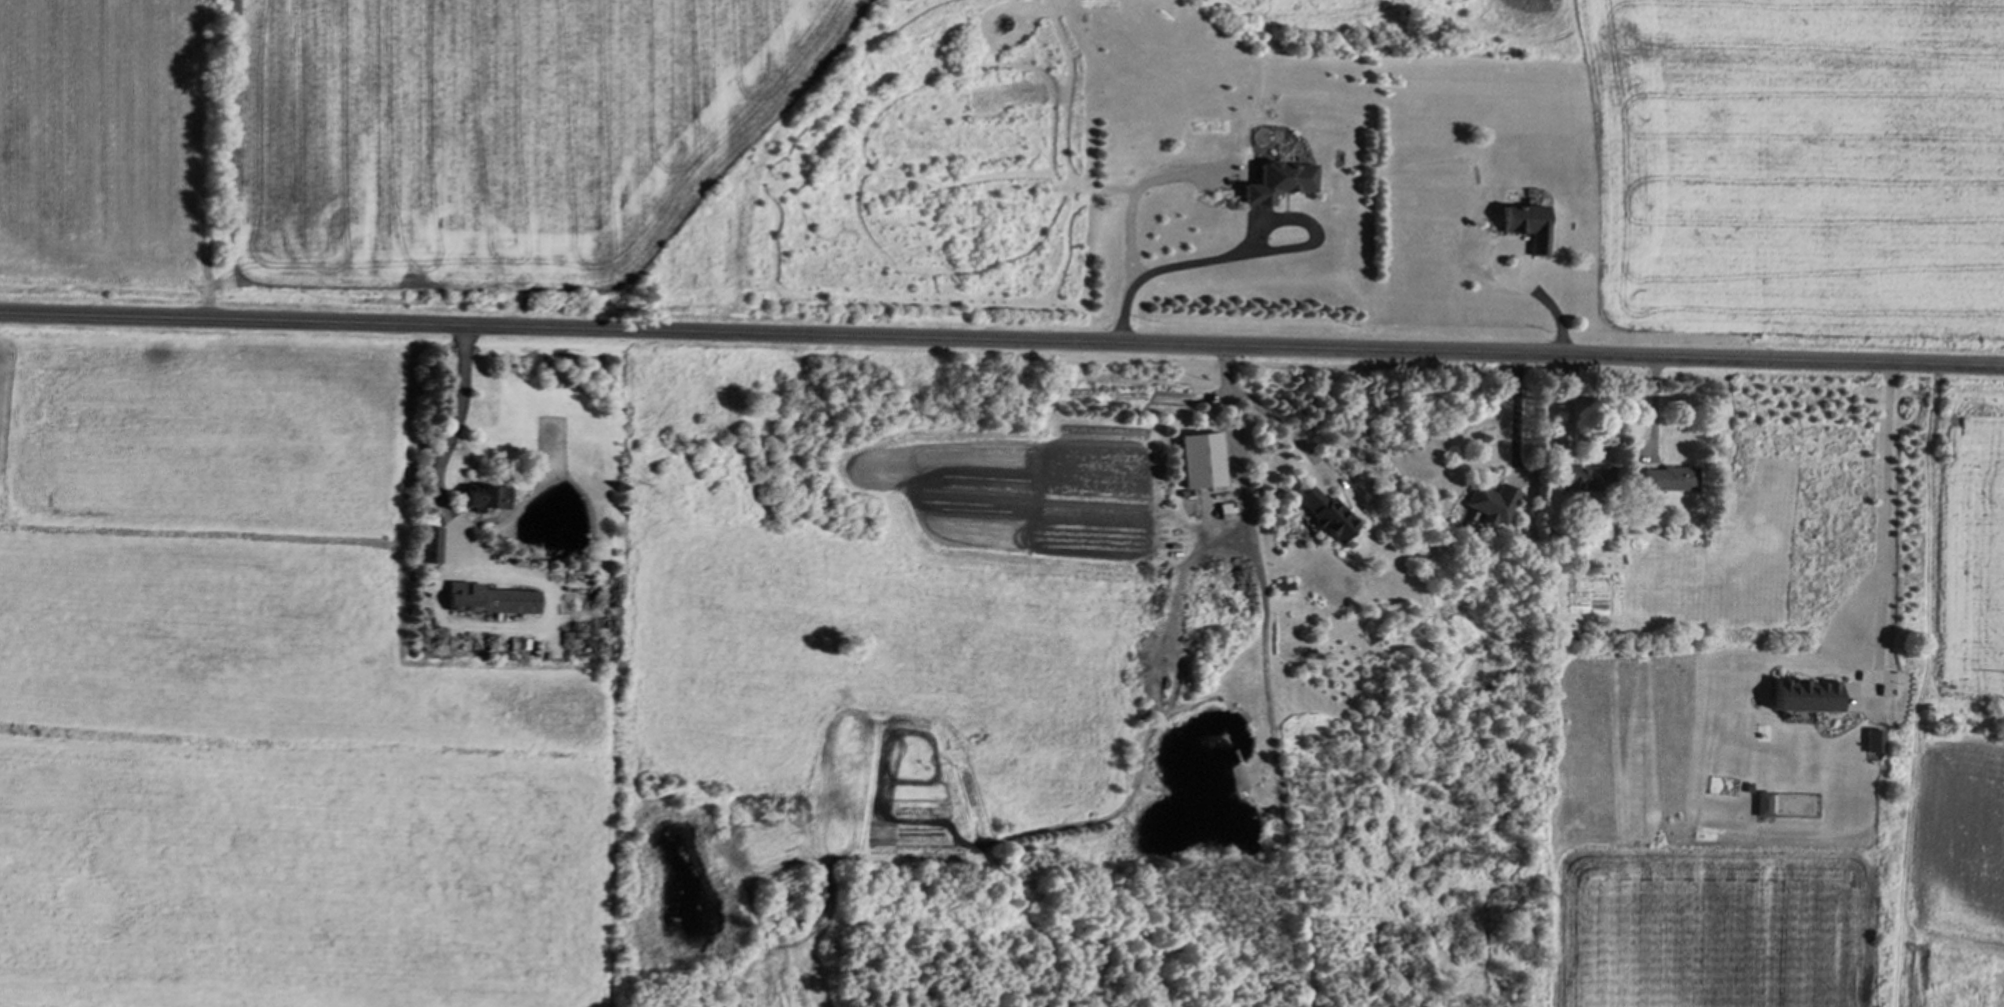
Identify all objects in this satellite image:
crop: (378, 133)
crop: (1801, 157)
building: (1277, 184)
building: (1523, 228)
road: (1173, 262)
road: (1554, 303)
road: (1001, 340)
road: (1269, 414)
road: (1570, 434)
road: (444, 455)
building: (1199, 463)
building: (1578, 479)
building: (1666, 481)
building: (481, 500)
building: (1489, 507)
building: (1325, 516)
road: (1886, 524)
building: (428, 548)
building: (492, 603)
crop: (1966, 609)
road: (1267, 693)

